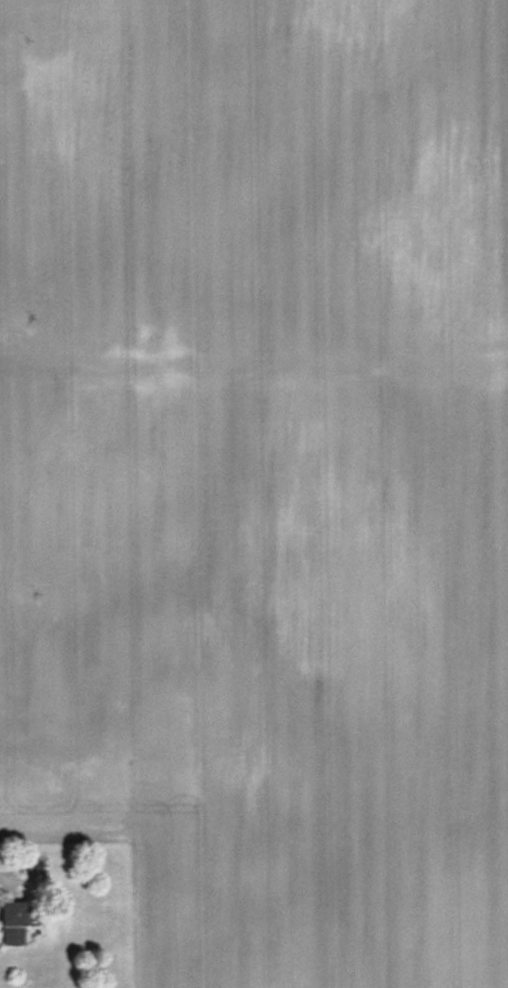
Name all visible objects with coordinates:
building: (16, 920)

